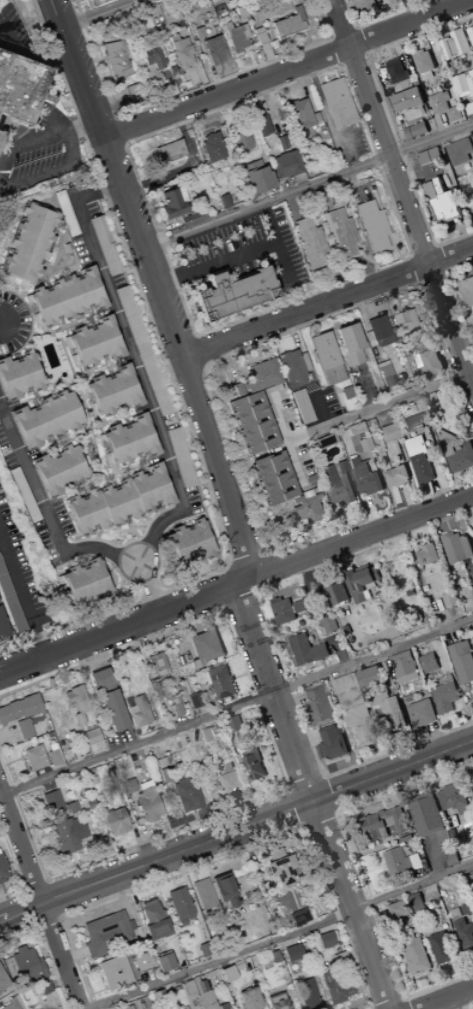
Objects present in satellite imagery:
road: (76, 0)
building: (257, 0)
building: (99, 1)
road: (49, 3)
road: (51, 3)
building: (366, 4)
road: (420, 4)
road: (352, 5)
road: (356, 5)
road: (409, 11)
building: (240, 12)
road: (100, 14)
road: (350, 14)
road: (450, 23)
building: (285, 25)
road: (454, 26)
building: (198, 32)
road: (467, 33)
road: (343, 34)
building: (471, 34)
building: (259, 35)
road: (415, 37)
building: (235, 38)
road: (330, 38)
road: (360, 41)
road: (432, 43)
road: (398, 45)
building: (455, 45)
road: (244, 49)
building: (215, 50)
road: (335, 51)
building: (180, 52)
road: (389, 53)
road: (367, 55)
road: (35, 57)
building: (115, 58)
building: (153, 58)
road: (247, 58)
road: (353, 58)
road: (268, 60)
road: (385, 61)
building: (424, 61)
road: (471, 64)
road: (340, 65)
road: (472, 65)
road: (209, 67)
road: (288, 70)
building: (397, 71)
road: (196, 76)
building: (464, 84)
building: (19, 88)
road: (303, 90)
road: (184, 92)
building: (133, 93)
building: (408, 99)
road: (107, 100)
road: (320, 102)
building: (336, 103)
building: (439, 103)
road: (467, 103)
road: (266, 106)
building: (469, 108)
building: (299, 114)
building: (455, 114)
road: (114, 116)
building: (315, 120)
road: (96, 124)
building: (260, 124)
road: (175, 125)
road: (443, 125)
road: (50, 126)
building: (416, 131)
road: (118, 132)
road: (53, 136)
building: (1, 137)
building: (240, 140)
road: (153, 141)
building: (281, 143)
building: (211, 147)
road: (347, 149)
building: (168, 151)
road: (401, 151)
road: (107, 152)
building: (460, 152)
building: (435, 154)
road: (2, 158)
building: (424, 158)
building: (285, 165)
road: (184, 171)
road: (51, 172)
road: (418, 175)
building: (255, 177)
building: (472, 178)
road: (306, 185)
building: (466, 189)
road: (96, 191)
road: (401, 193)
building: (179, 194)
building: (223, 201)
building: (444, 202)
building: (469, 203)
building: (170, 204)
building: (64, 213)
building: (191, 220)
building: (372, 226)
road: (463, 232)
building: (341, 234)
road: (275, 241)
building: (310, 242)
building: (27, 244)
building: (105, 245)
road: (215, 263)
road: (364, 272)
road: (340, 281)
building: (468, 292)
road: (159, 294)
building: (231, 294)
building: (65, 297)
road: (389, 297)
road: (453, 299)
road: (327, 301)
road: (358, 313)
road: (240, 314)
road: (17, 323)
building: (407, 325)
building: (377, 327)
building: (390, 329)
road: (193, 335)
road: (291, 335)
building: (347, 338)
building: (369, 340)
road: (465, 341)
building: (93, 343)
road: (176, 343)
building: (143, 350)
road: (196, 352)
building: (277, 357)
building: (352, 358)
building: (326, 359)
building: (303, 361)
building: (431, 362)
road: (225, 363)
building: (420, 364)
building: (381, 366)
building: (416, 367)
road: (202, 368)
building: (291, 368)
road: (136, 372)
road: (186, 373)
building: (383, 373)
building: (260, 376)
building: (18, 377)
building: (386, 382)
road: (205, 388)
road: (359, 389)
building: (237, 390)
building: (110, 392)
building: (345, 394)
road: (177, 395)
building: (325, 404)
road: (316, 406)
road: (378, 406)
building: (301, 407)
building: (44, 420)
building: (252, 423)
building: (413, 424)
building: (353, 429)
building: (387, 433)
road: (281, 437)
building: (127, 441)
building: (322, 441)
building: (447, 442)
building: (361, 445)
building: (416, 446)
building: (180, 458)
road: (237, 458)
building: (461, 459)
building: (422, 469)
building: (57, 471)
building: (365, 477)
building: (398, 477)
building: (272, 478)
building: (312, 479)
building: (338, 485)
building: (148, 488)
road: (438, 494)
building: (22, 496)
road: (371, 501)
road: (408, 502)
building: (118, 503)
road: (41, 508)
building: (308, 509)
road: (370, 512)
building: (84, 513)
road: (359, 518)
road: (448, 526)
building: (472, 532)
road: (431, 533)
road: (356, 538)
building: (188, 544)
road: (298, 545)
building: (468, 546)
road: (121, 547)
building: (455, 548)
road: (267, 553)
building: (429, 554)
road: (344, 558)
road: (246, 560)
road: (356, 563)
road: (226, 566)
road: (470, 569)
road: (322, 570)
road: (310, 576)
building: (365, 583)
building: (81, 585)
road: (219, 592)
building: (340, 594)
road: (22, 597)
road: (150, 599)
building: (451, 600)
building: (10, 605)
building: (302, 606)
building: (284, 610)
building: (330, 624)
building: (2, 628)
road: (119, 631)
building: (472, 631)
road: (371, 639)
building: (206, 646)
building: (308, 650)
road: (341, 652)
building: (462, 661)
building: (430, 663)
building: (156, 664)
building: (406, 670)
road: (126, 674)
road: (241, 676)
building: (371, 678)
building: (98, 679)
building: (223, 682)
building: (178, 688)
building: (160, 689)
road: (11, 696)
building: (446, 697)
building: (76, 699)
building: (194, 700)
building: (353, 700)
building: (318, 706)
road: (237, 708)
building: (391, 708)
building: (20, 709)
building: (177, 710)
building: (114, 711)
building: (136, 711)
building: (423, 713)
road: (467, 713)
road: (153, 715)
building: (36, 722)
building: (23, 729)
building: (238, 732)
road: (7, 734)
building: (204, 735)
building: (90, 738)
road: (307, 739)
road: (436, 739)
building: (221, 742)
building: (332, 743)
road: (267, 749)
road: (397, 751)
building: (33, 757)
building: (52, 757)
road: (12, 761)
building: (255, 764)
building: (229, 768)
road: (283, 769)
road: (451, 769)
building: (163, 776)
building: (471, 780)
building: (232, 781)
road: (306, 781)
road: (266, 783)
building: (127, 786)
building: (208, 793)
building: (186, 794)
road: (332, 795)
road: (312, 798)
building: (453, 799)
building: (147, 802)
building: (52, 803)
building: (90, 804)
road: (383, 805)
road: (297, 807)
building: (70, 808)
road: (340, 814)
building: (426, 814)
road: (194, 816)
road: (321, 820)
building: (114, 821)
road: (353, 823)
building: (385, 823)
road: (276, 826)
road: (139, 828)
road: (157, 828)
road: (235, 829)
road: (335, 829)
road: (7, 831)
building: (67, 834)
road: (253, 834)
building: (406, 839)
road: (137, 843)
road: (283, 845)
building: (448, 847)
road: (207, 852)
road: (260, 854)
building: (275, 854)
road: (436, 857)
road: (73, 859)
building: (397, 861)
building: (416, 861)
road: (7, 862)
road: (166, 867)
road: (13, 868)
road: (213, 868)
road: (361, 868)
road: (375, 869)
building: (2, 870)
building: (281, 870)
road: (182, 872)
road: (221, 873)
road: (137, 878)
building: (471, 879)
road: (44, 880)
road: (172, 883)
road: (33, 884)
road: (22, 888)
road: (1, 889)
building: (224, 890)
road: (119, 892)
road: (188, 892)
building: (203, 894)
road: (143, 895)
road: (132, 897)
road: (292, 897)
road: (38, 899)
road: (51, 899)
road: (80, 899)
building: (416, 902)
building: (179, 903)
road: (29, 908)
building: (467, 909)
building: (399, 910)
building: (235, 911)
building: (457, 913)
road: (86, 916)
building: (298, 916)
building: (189, 917)
building: (153, 918)
building: (236, 919)
road: (373, 919)
road: (47, 922)
building: (181, 923)
road: (11, 925)
building: (104, 932)
building: (465, 934)
road: (334, 937)
building: (203, 938)
road: (281, 938)
building: (324, 940)
road: (16, 941)
building: (441, 948)
road: (44, 949)
building: (203, 950)
building: (292, 953)
building: (416, 955)
road: (42, 956)
road: (72, 956)
building: (337, 958)
road: (342, 958)
building: (140, 961)
building: (245, 962)
building: (163, 963)
building: (237, 964)
building: (25, 965)
road: (88, 970)
building: (113, 972)
road: (449, 972)
road: (464, 973)
building: (228, 974)
road: (73, 976)
road: (146, 979)
building: (3, 980)
building: (43, 987)
building: (335, 987)
building: (187, 988)
building: (201, 990)
road: (96, 992)
building: (307, 995)
building: (157, 996)
road: (446, 998)
building: (249, 999)
road: (1, 1000)
road: (142, 1000)
building: (17, 1001)
building: (276, 1001)
road: (465, 1001)
road: (225, 1002)
building: (10, 1004)
building: (211, 1004)
road: (343, 1005)
building: (125, 1007)

